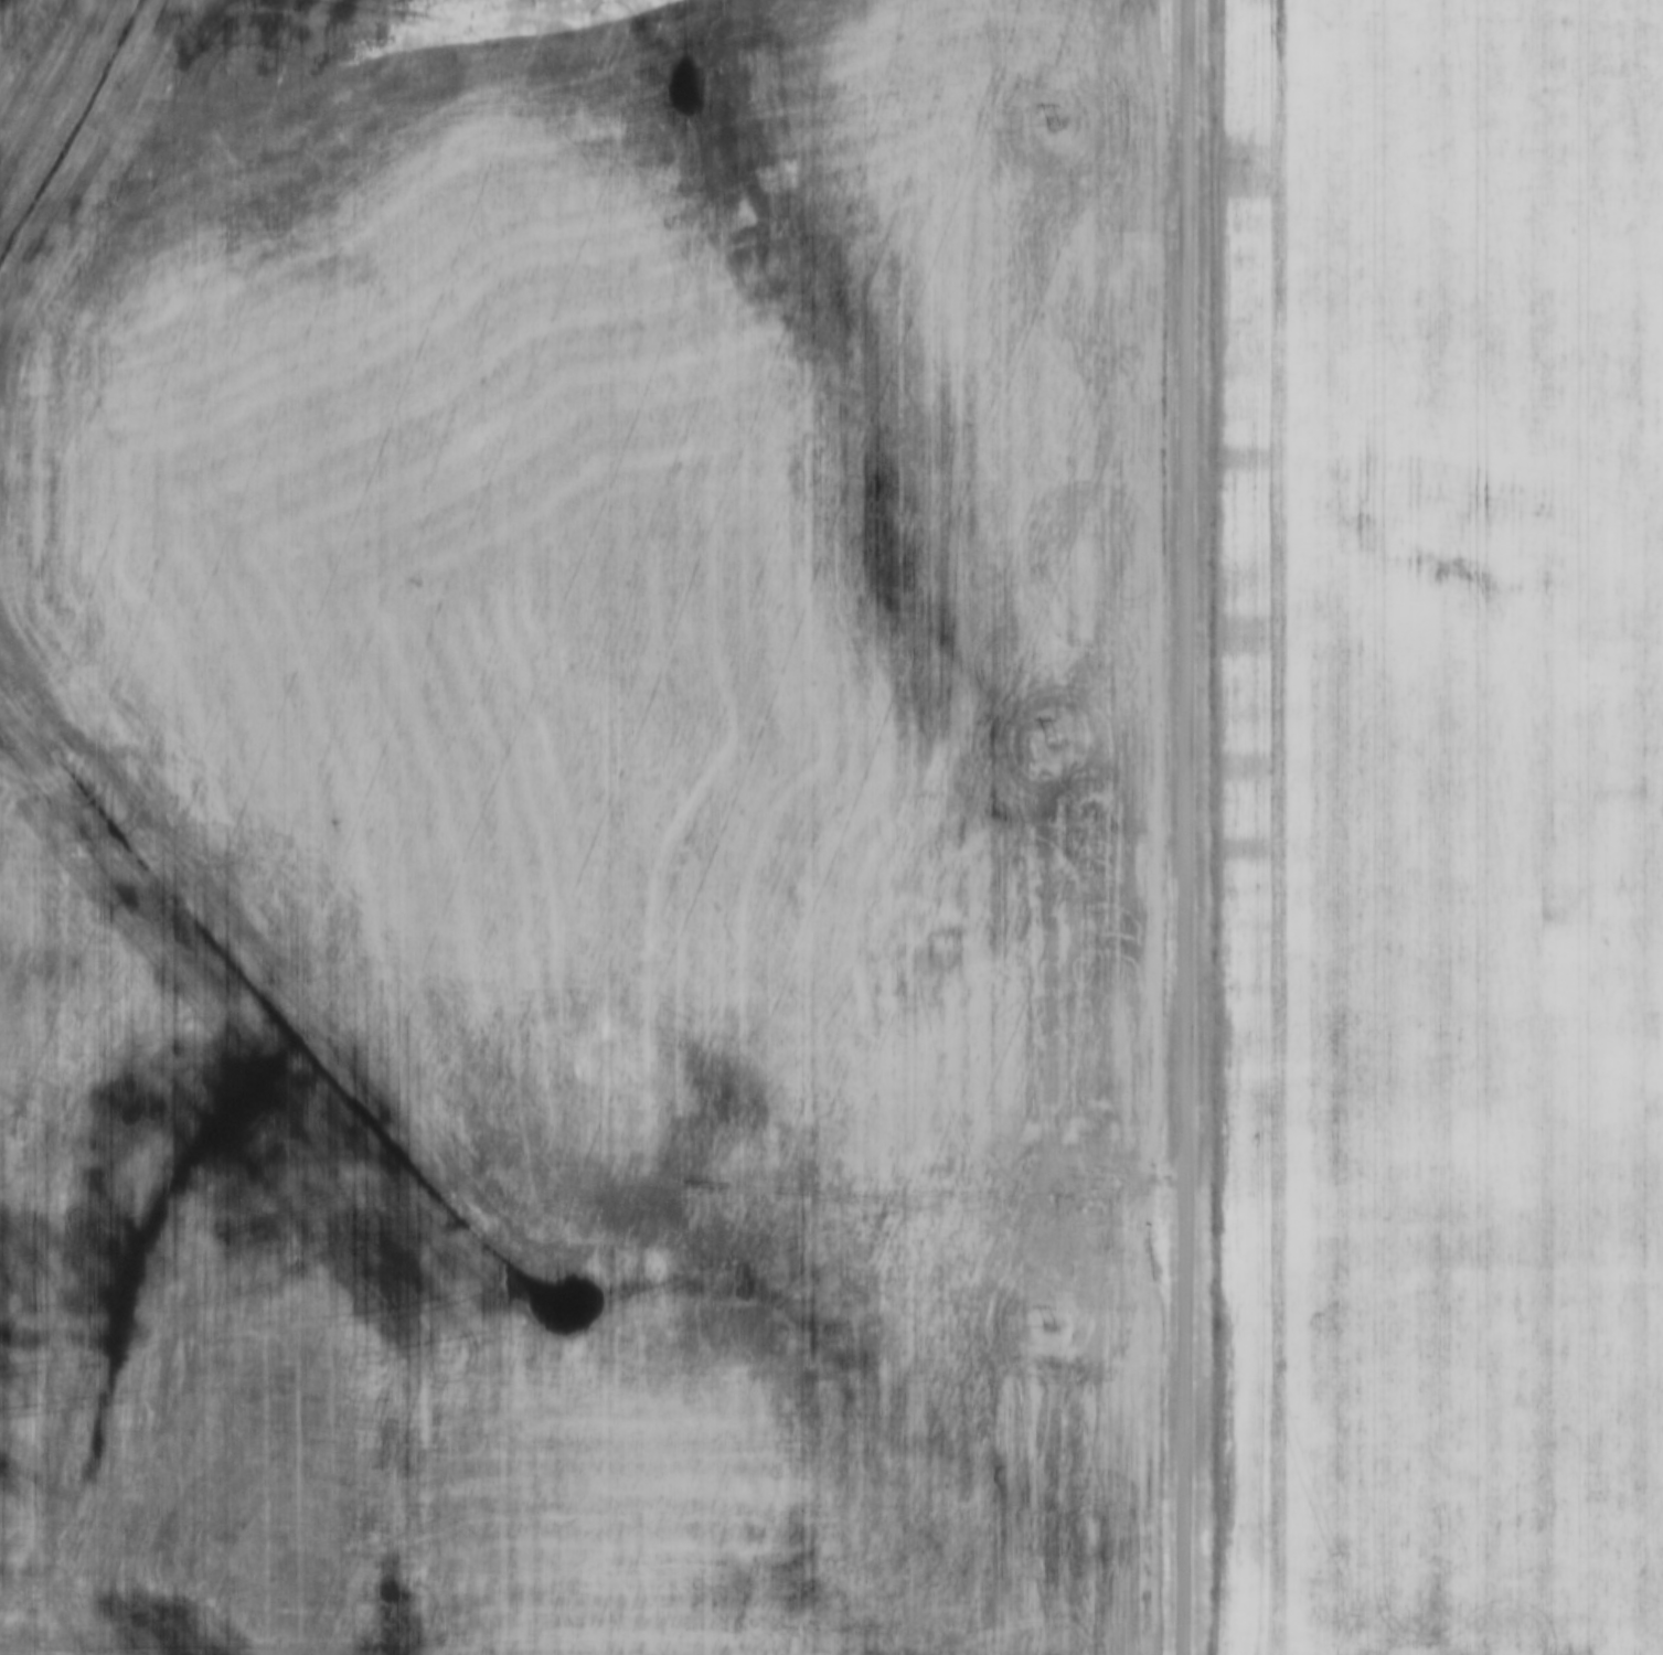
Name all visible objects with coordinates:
road: (1190, 827)

